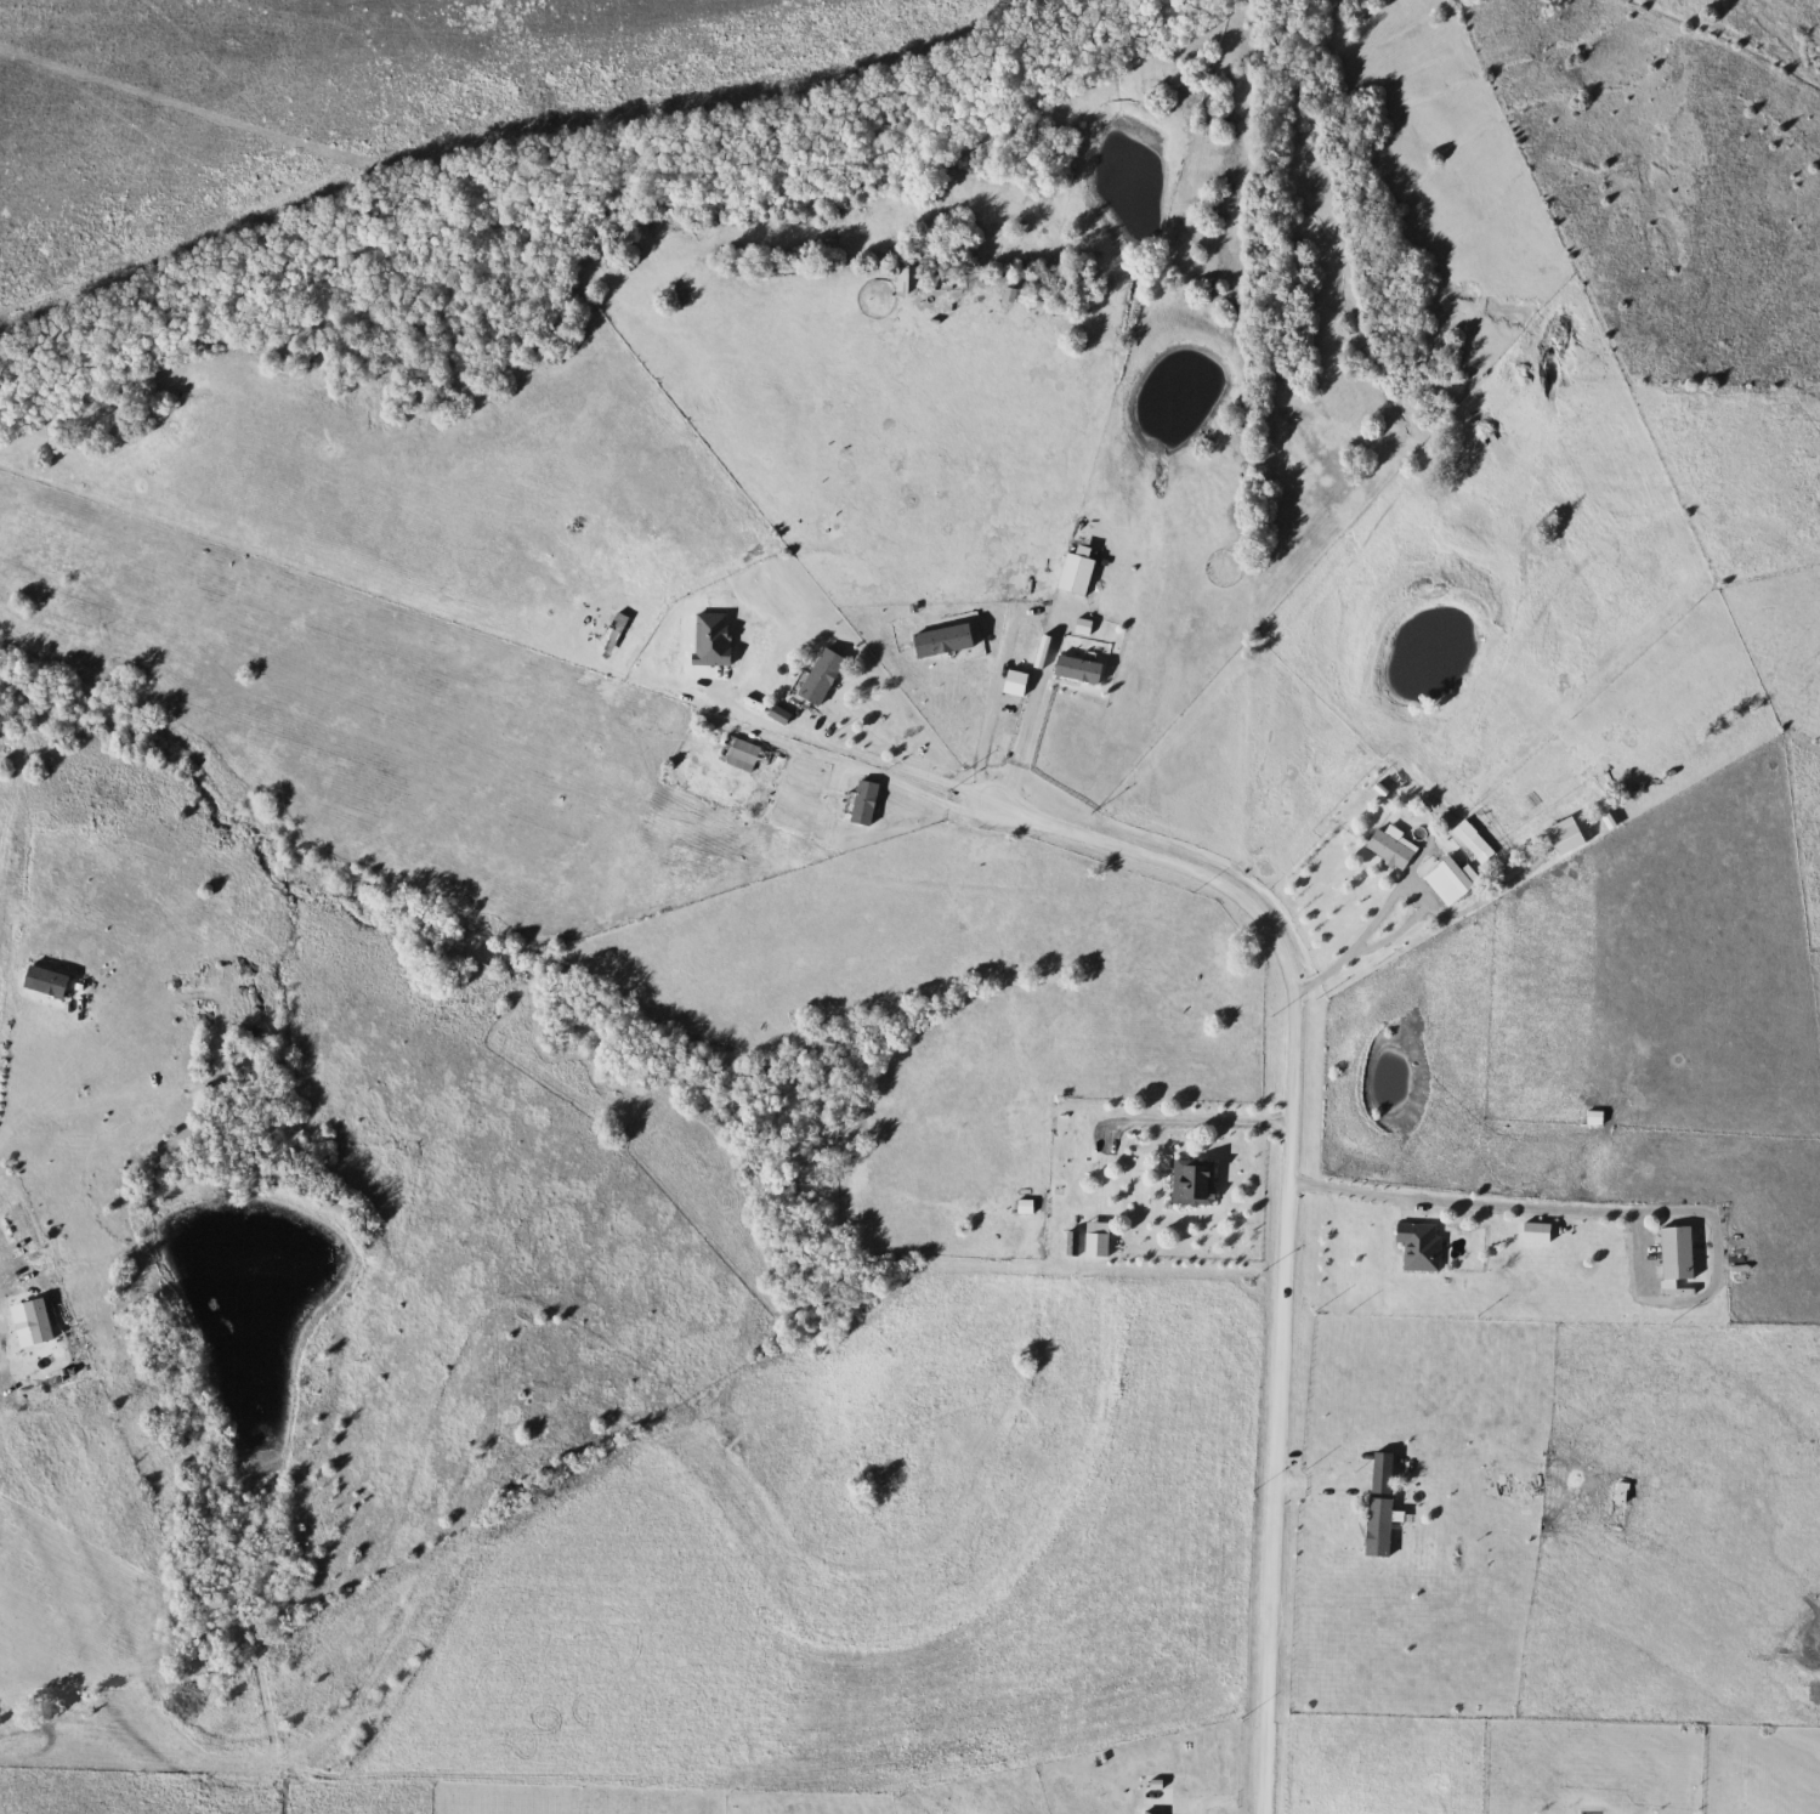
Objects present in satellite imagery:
building: (1079, 571)
building: (1081, 669)
building: (826, 676)
road: (992, 712)
road: (1031, 712)
building: (744, 754)
road: (900, 767)
road: (920, 793)
building: (867, 804)
building: (1473, 840)
building: (1393, 850)
building: (1462, 875)
road: (1343, 959)
building: (1597, 1118)
road: (1187, 1121)
building: (1197, 1183)
road: (1459, 1202)
road: (1285, 1215)
building: (1055, 1246)
building: (1422, 1247)
building: (1680, 1254)
building: (1382, 1527)

